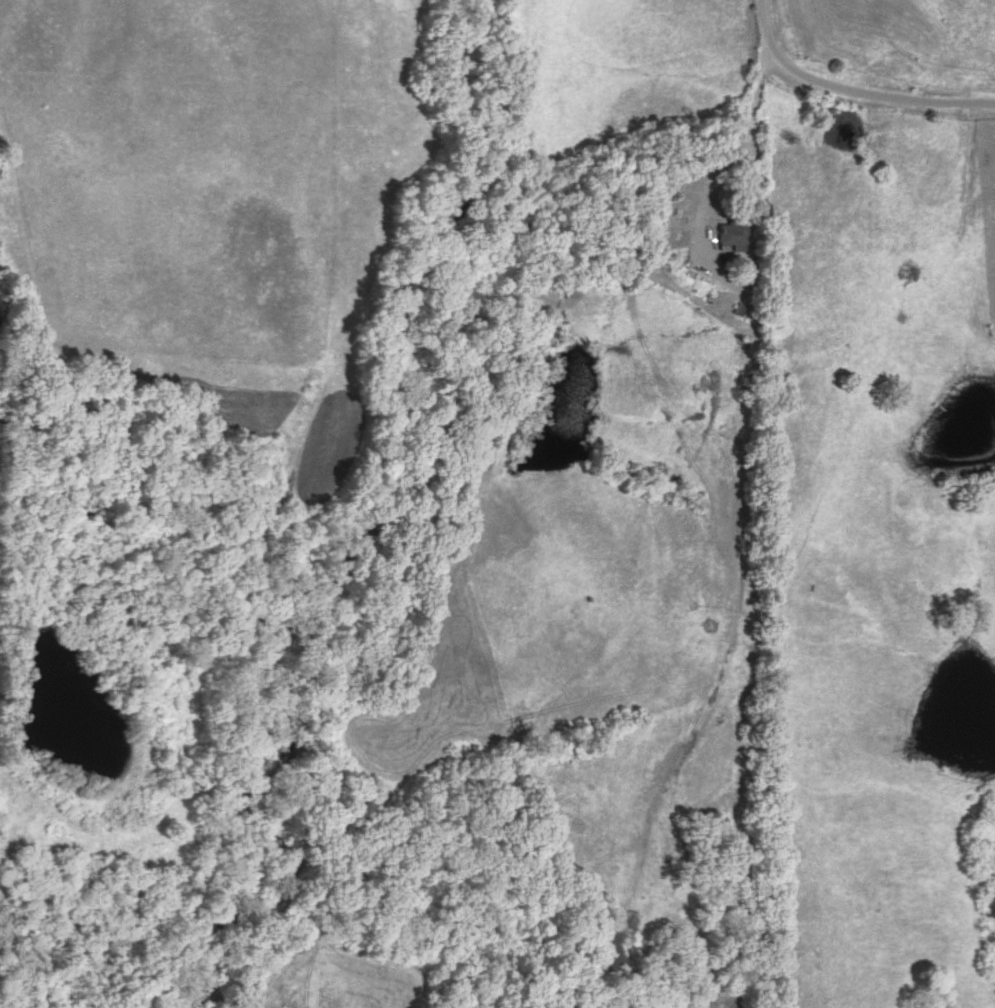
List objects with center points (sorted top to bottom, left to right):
road: (849, 93)
road: (713, 163)
park: (983, 207)
building: (726, 234)
building: (604, 945)

